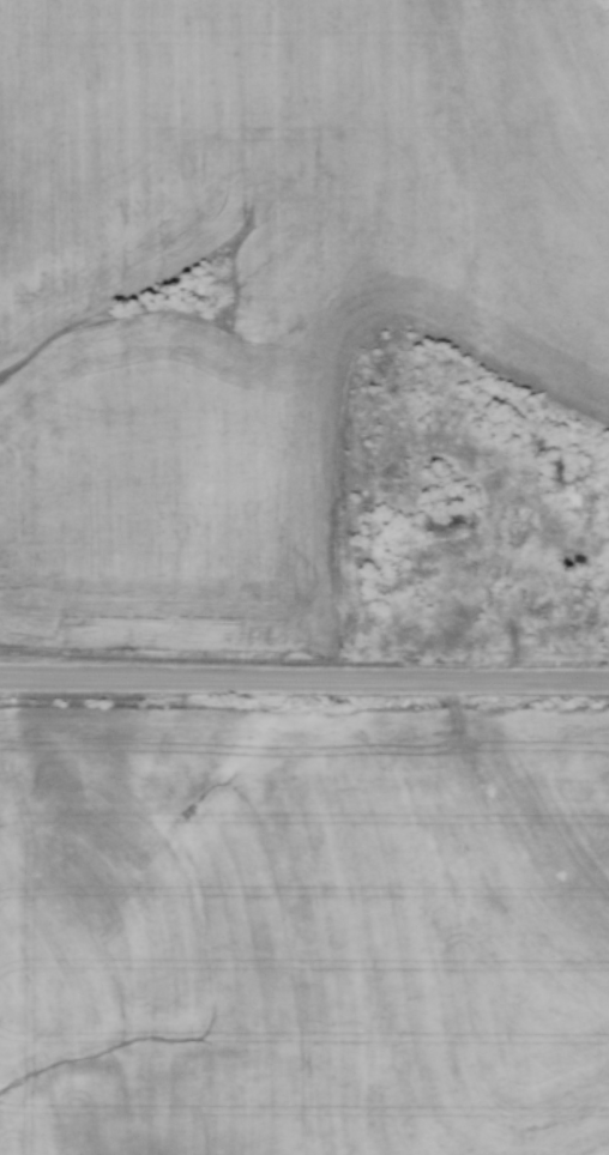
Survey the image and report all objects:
road: (304, 678)

